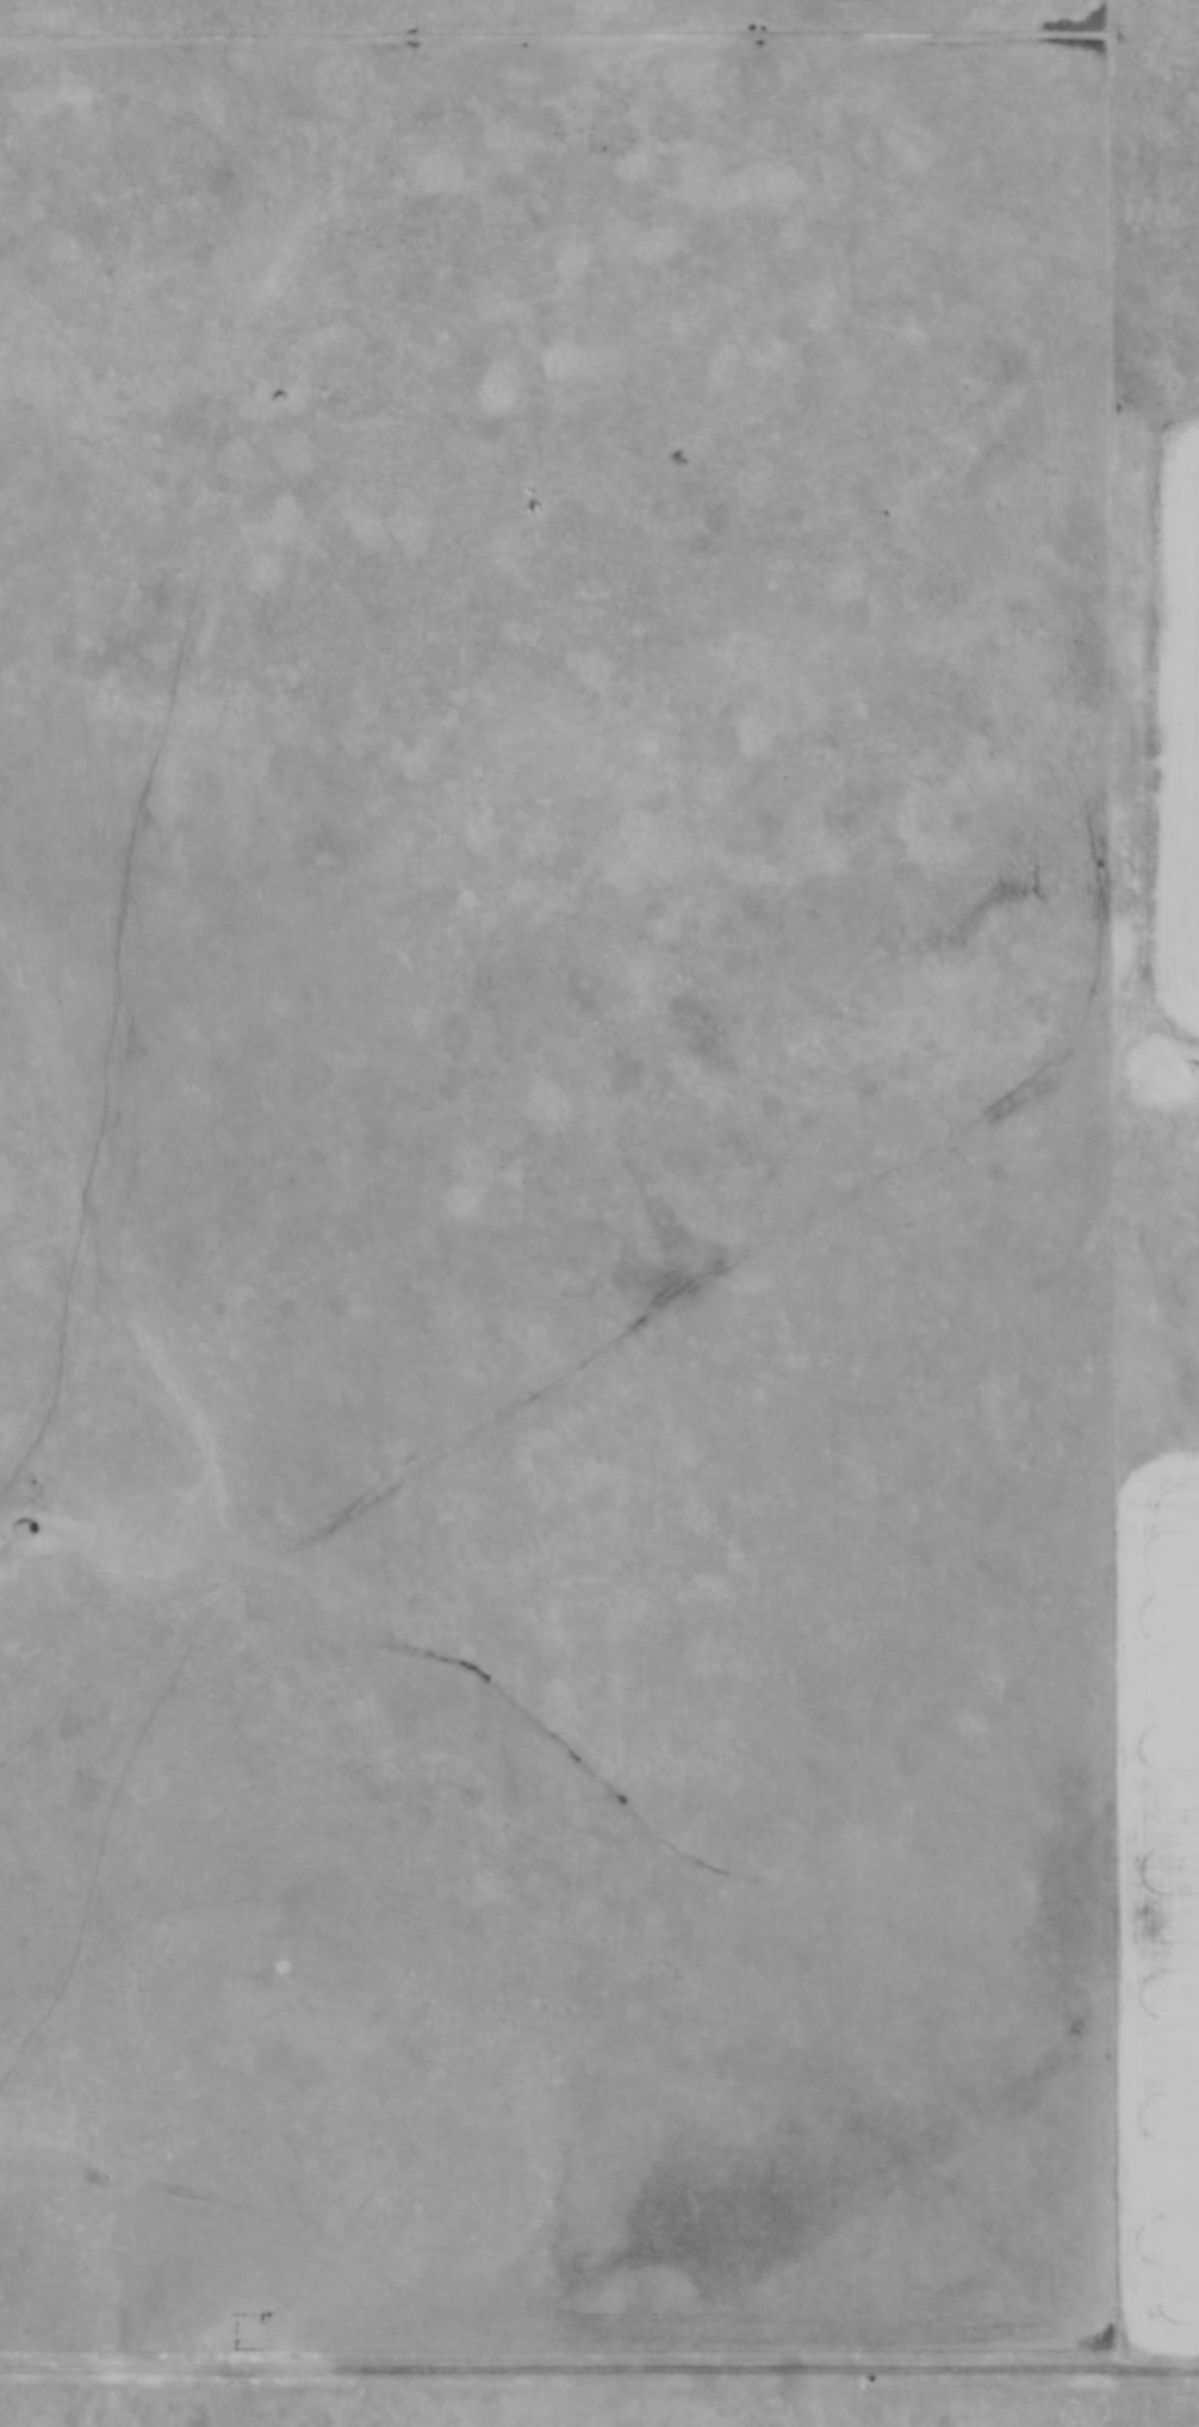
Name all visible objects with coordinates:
road: (599, 2372)

